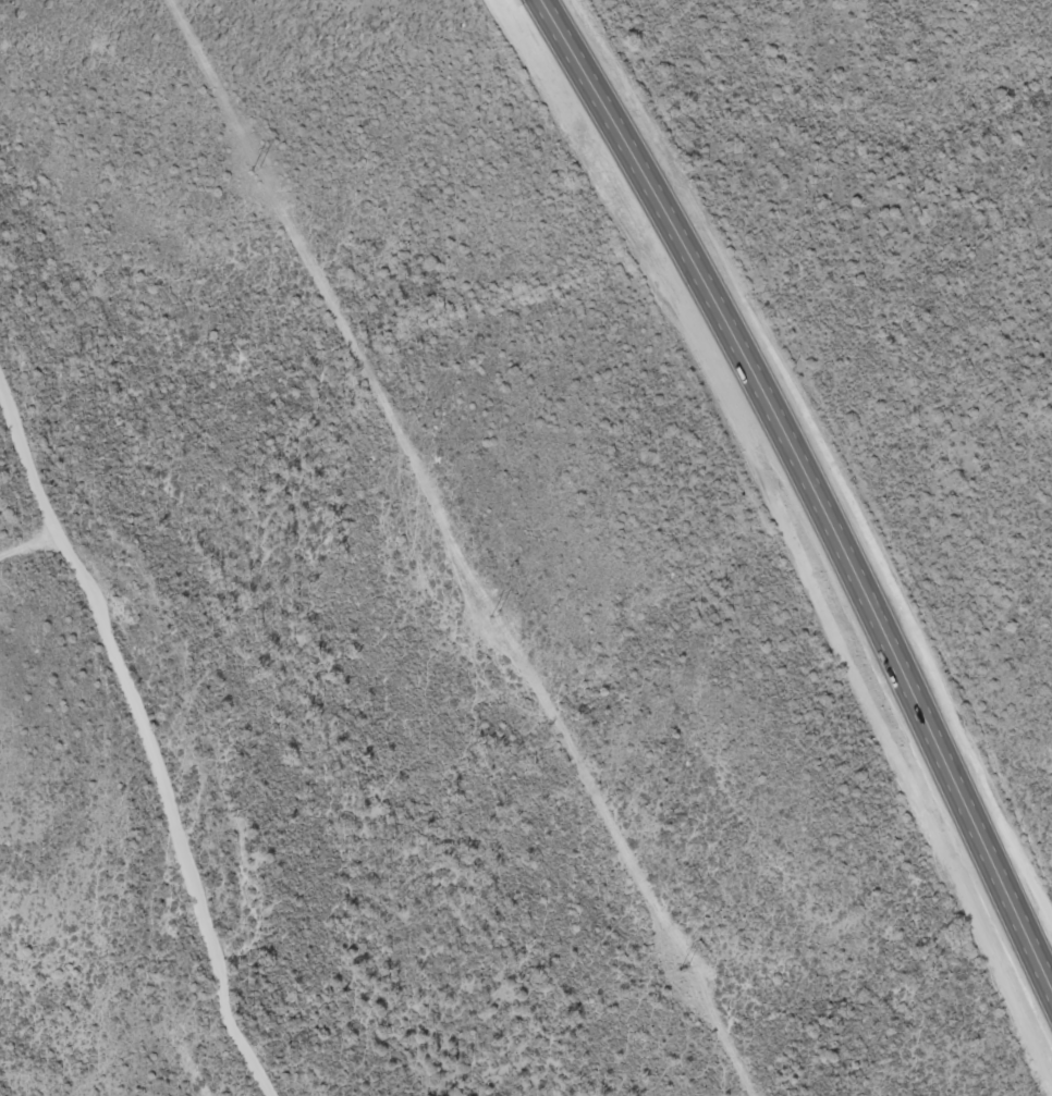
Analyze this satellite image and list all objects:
power tower: (253, 172)
road: (810, 482)
power tower: (490, 617)
road: (164, 788)
power tower: (680, 971)

